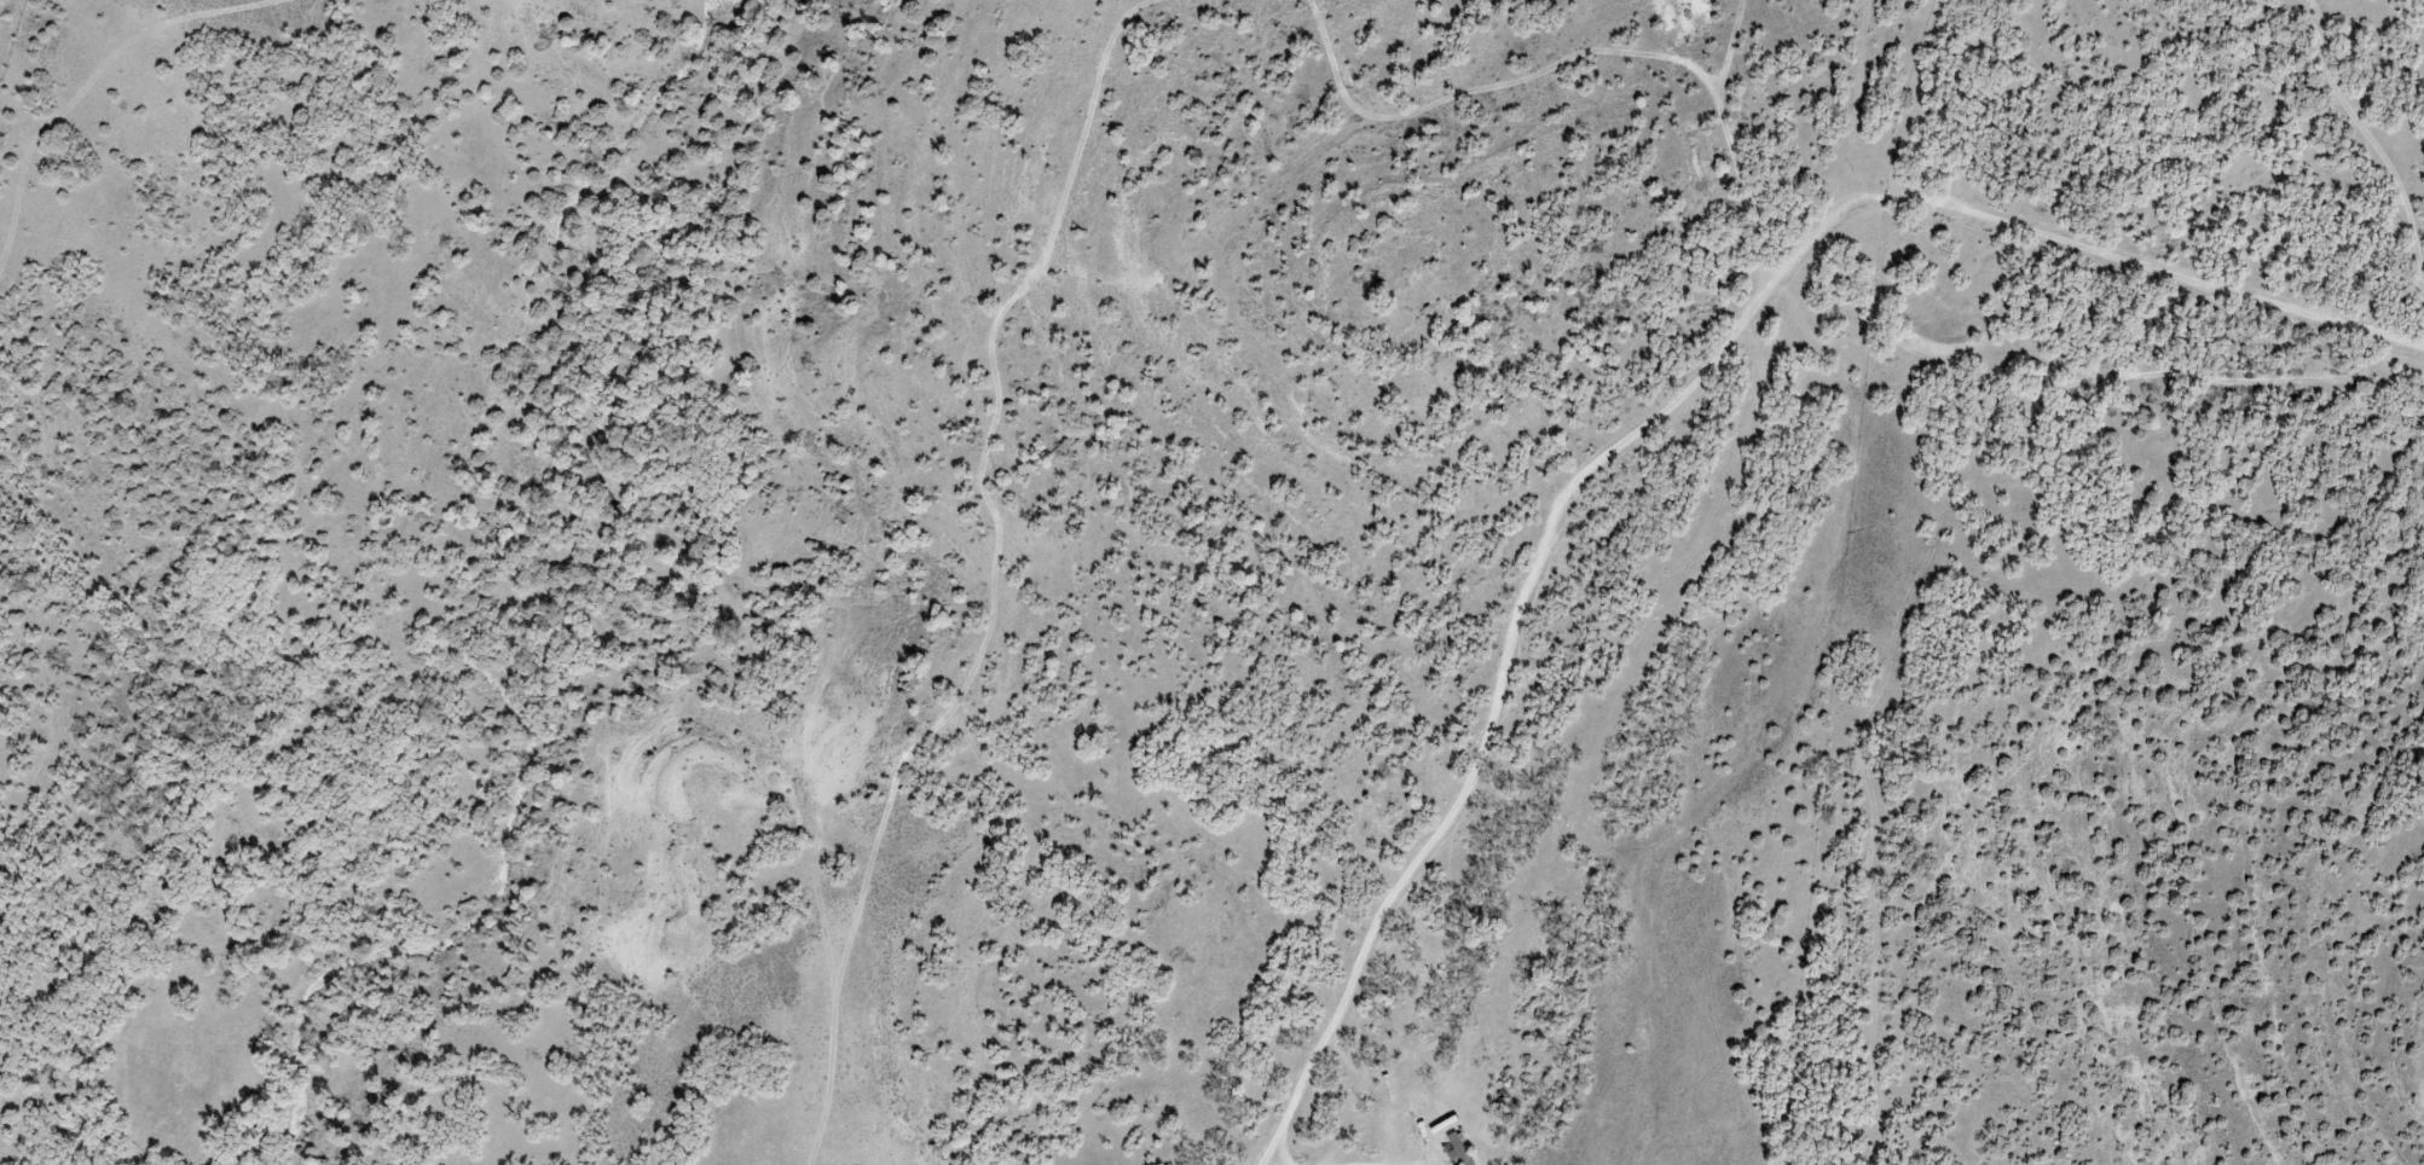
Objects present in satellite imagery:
building: (1410, 1065)
building: (1456, 1148)

